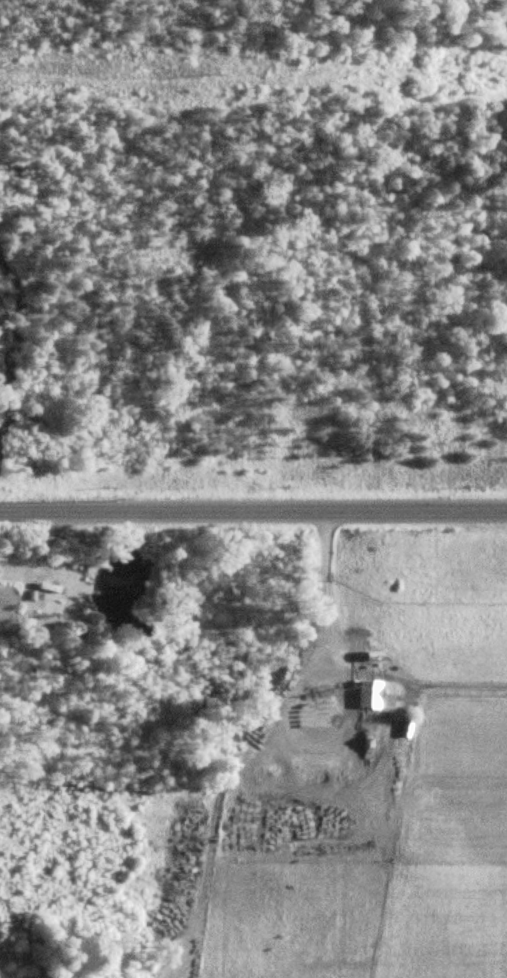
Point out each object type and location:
road: (253, 505)
building: (367, 694)

